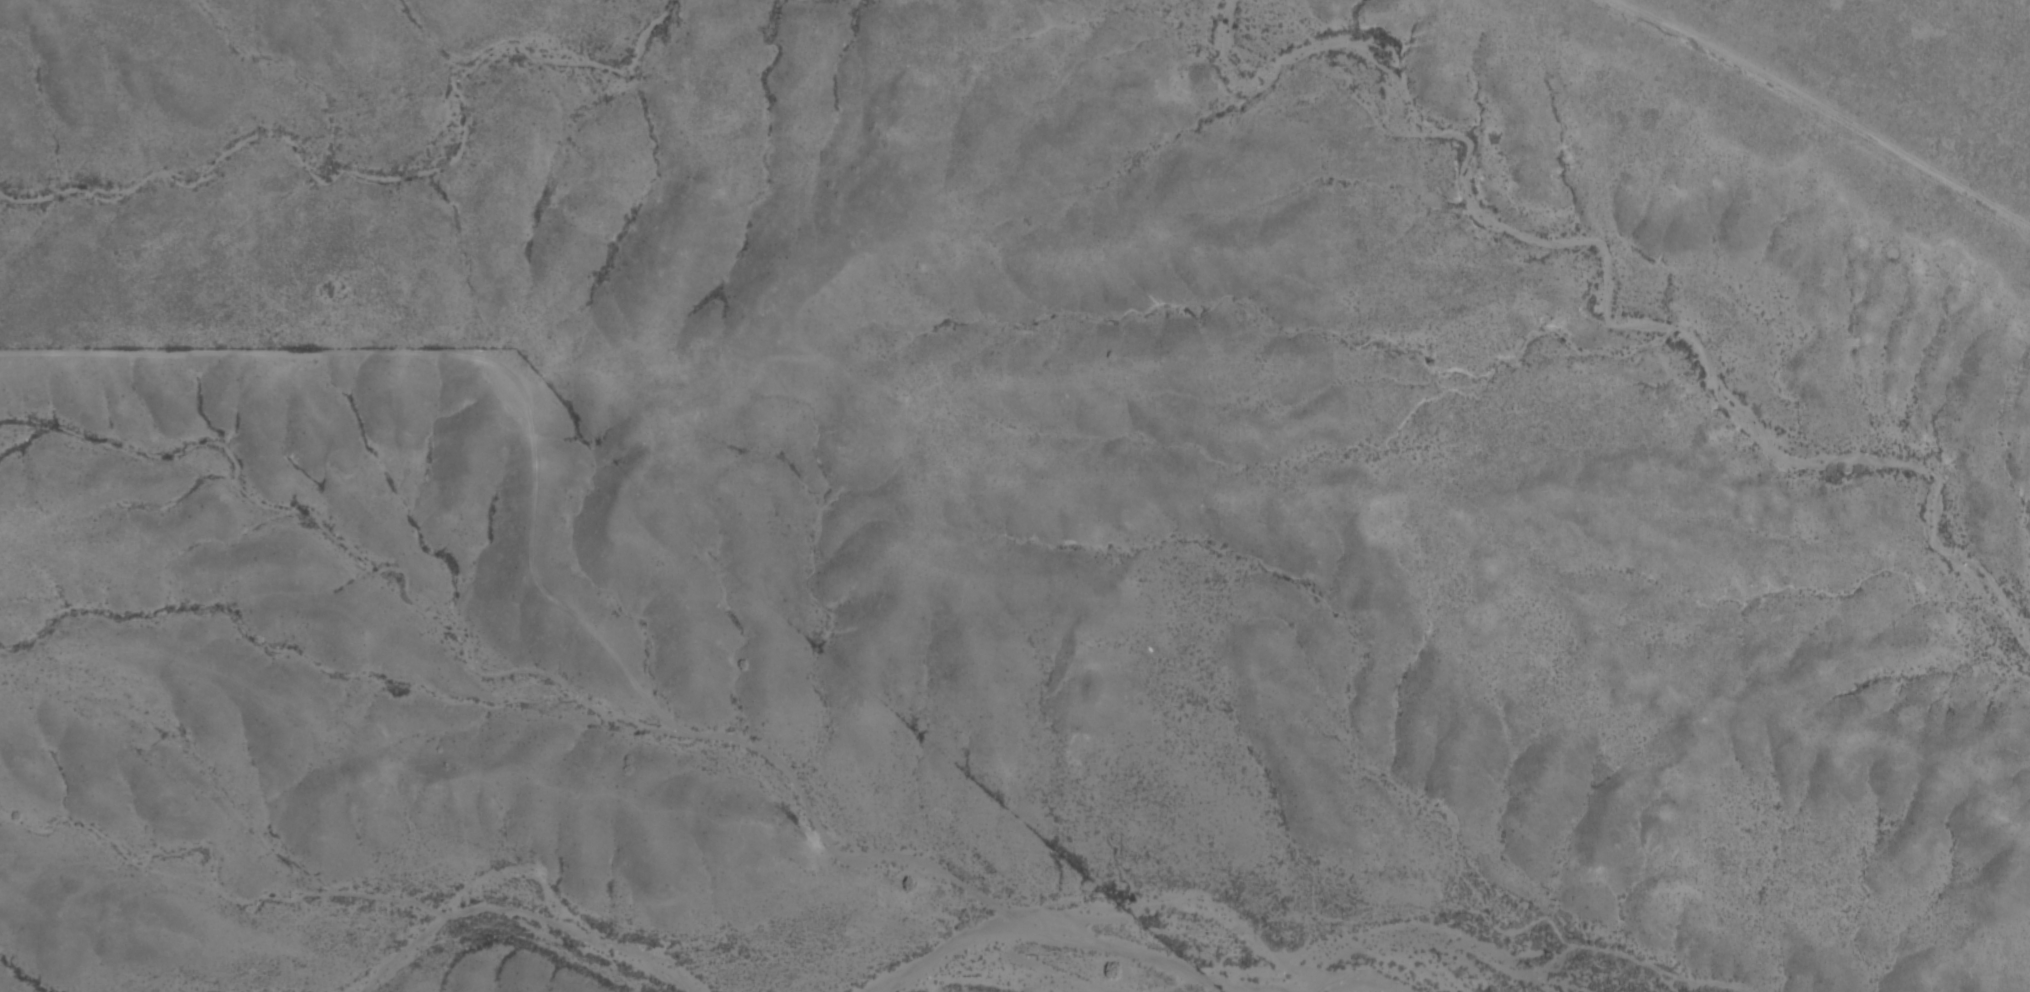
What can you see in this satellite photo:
road: (1821, 113)

